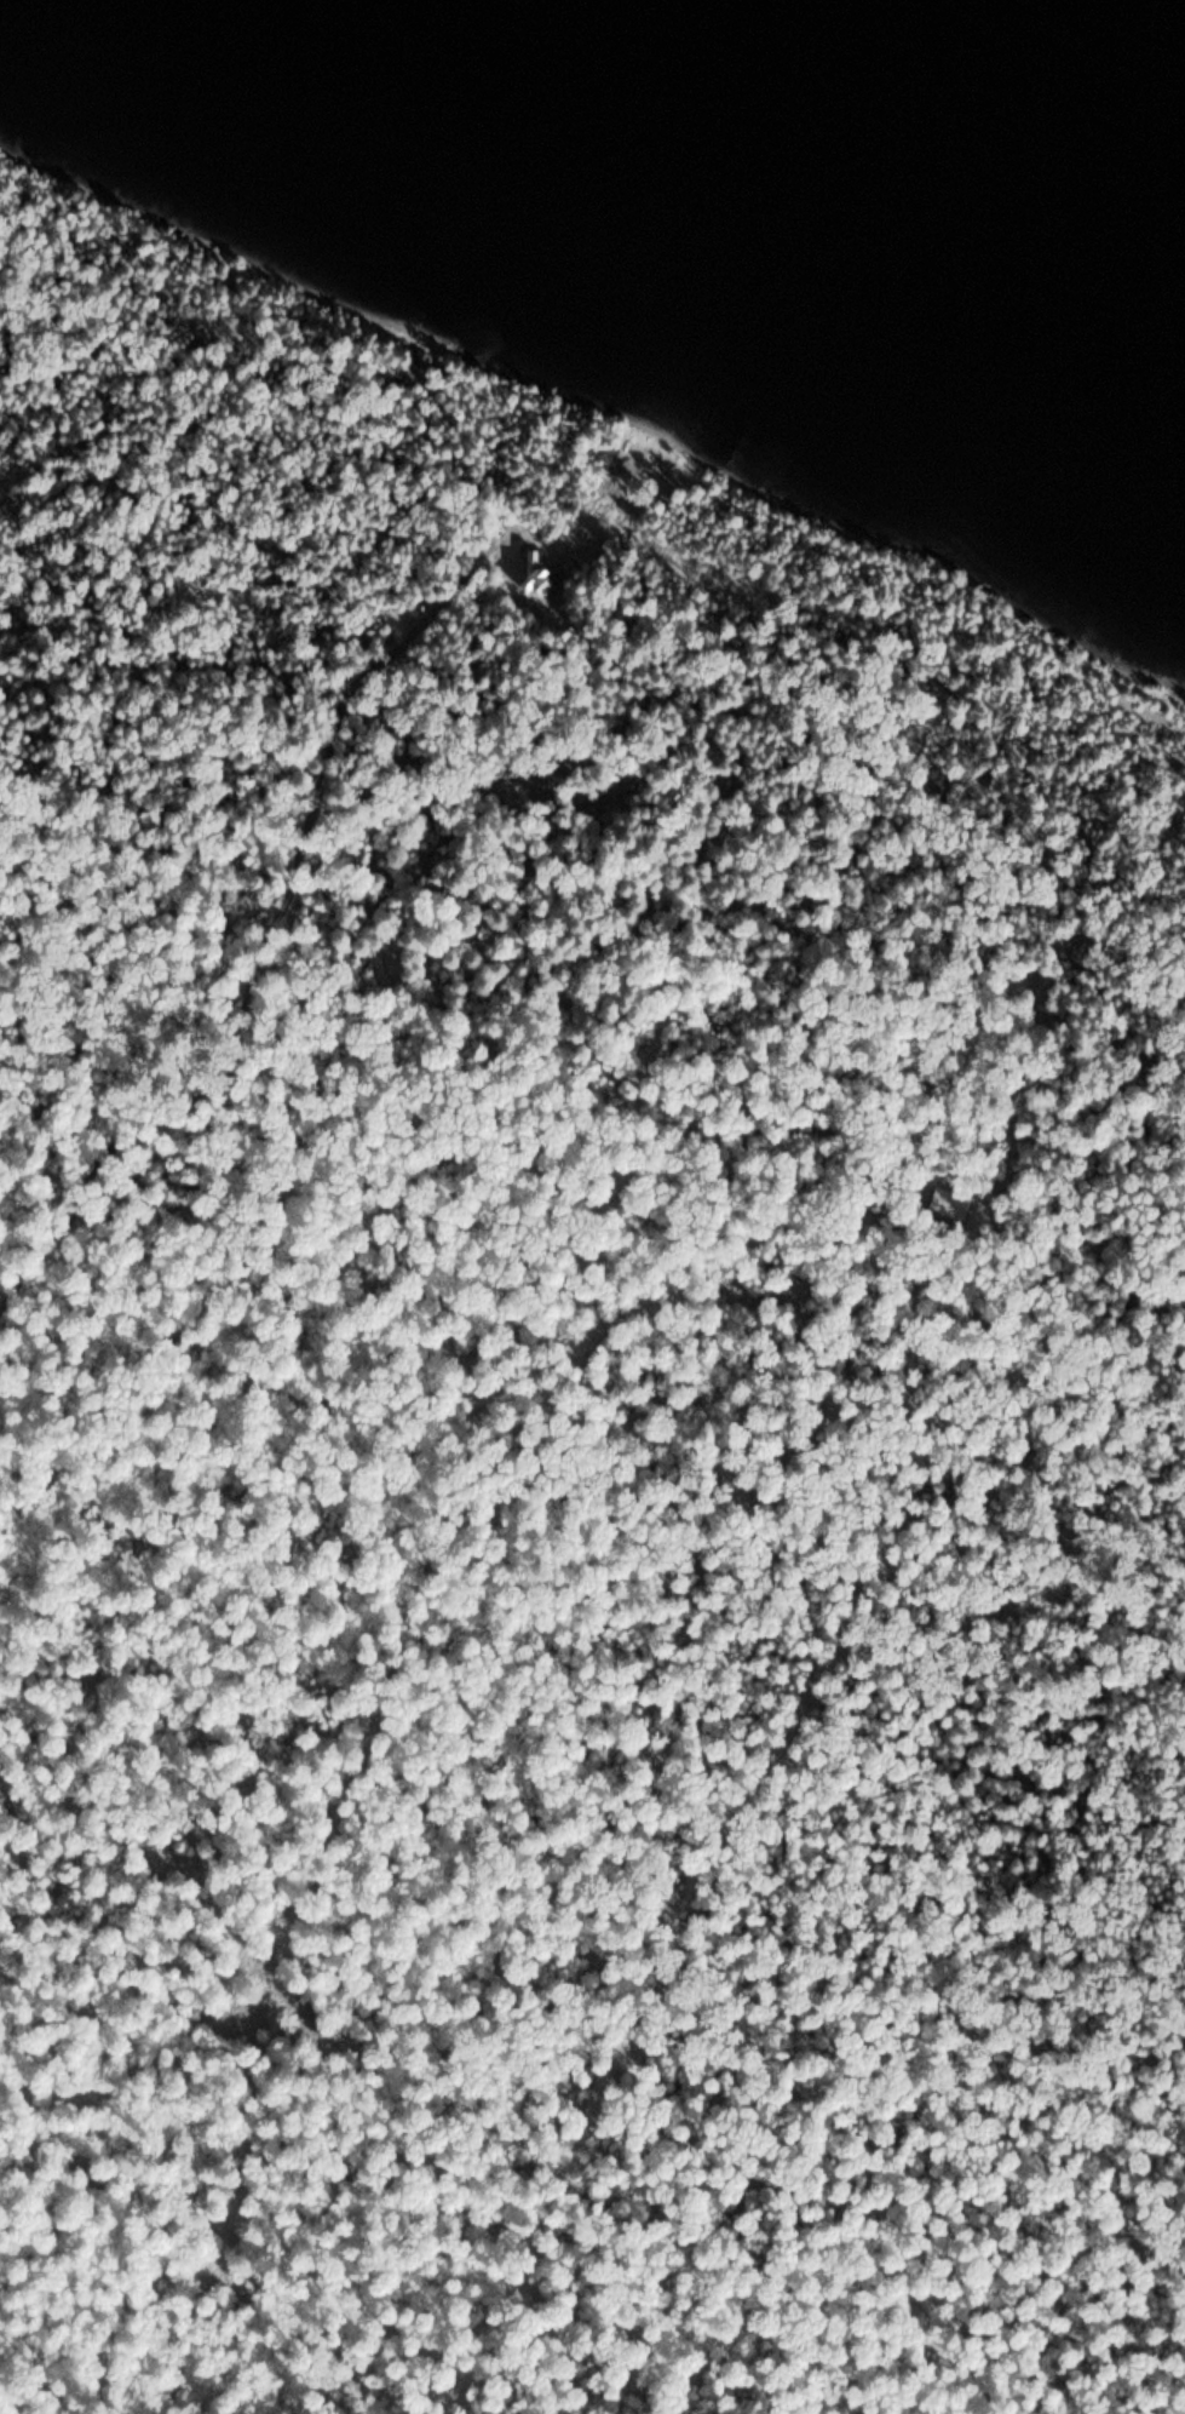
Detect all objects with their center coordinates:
building: (540, 574)
road: (261, 970)
building: (945, 1202)
road: (15, 1823)

